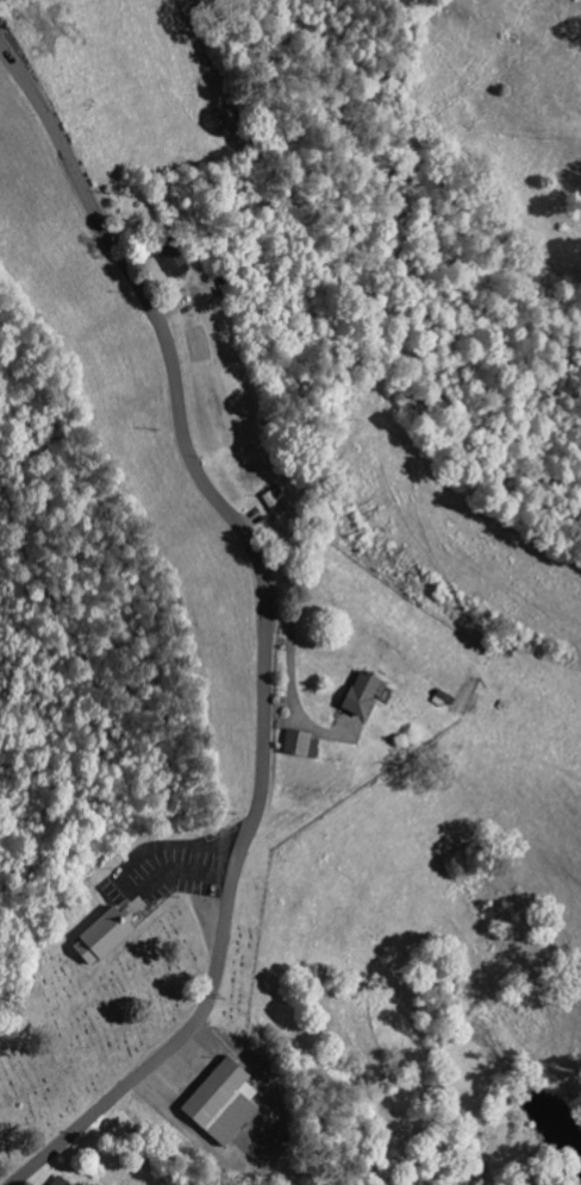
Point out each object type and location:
building: (175, 258)
building: (286, 513)
road: (263, 632)
building: (368, 696)
building: (304, 746)
building: (108, 938)
building: (226, 1104)
road: (257, 1116)
building: (62, 1181)

